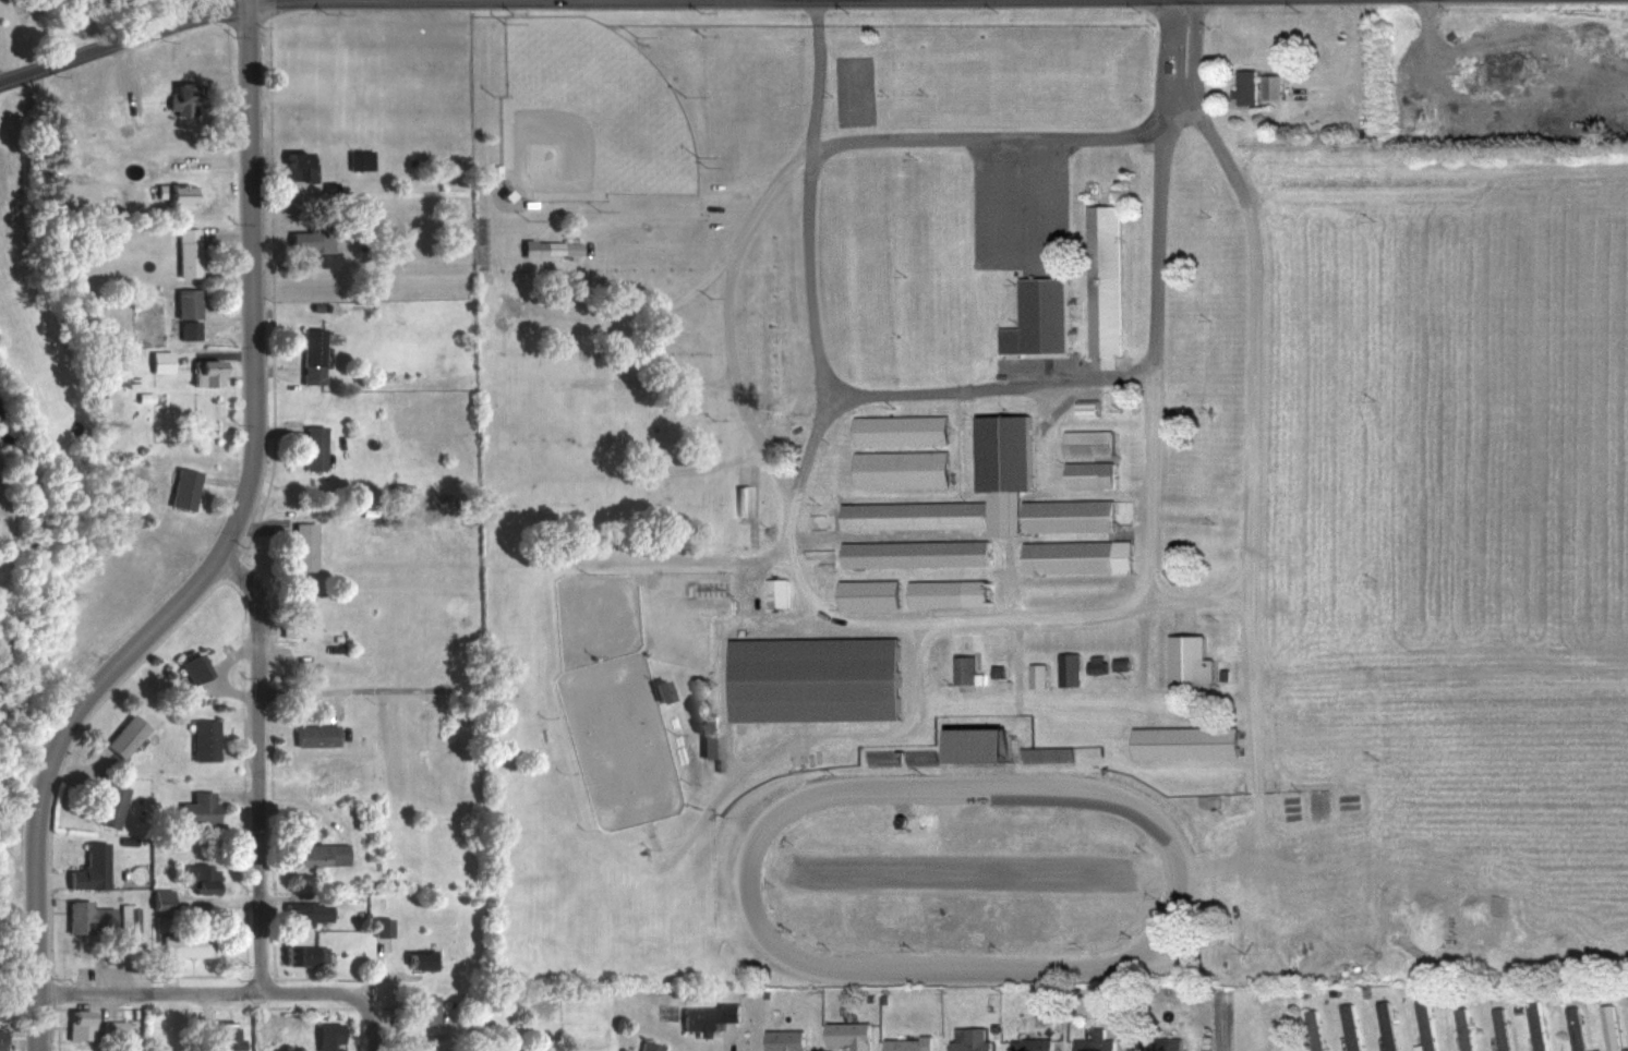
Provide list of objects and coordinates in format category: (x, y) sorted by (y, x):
road: (374, 0)
road: (248, 1)
road: (250, 1)
road: (123, 40)
landfill: (1509, 76)
building: (1257, 86)
building: (179, 98)
park: (591, 118)
road: (989, 138)
building: (361, 159)
building: (294, 166)
building: (167, 193)
building: (306, 242)
building: (550, 249)
building: (185, 253)
building: (1106, 286)
road: (273, 294)
building: (183, 304)
building: (1039, 317)
building: (185, 330)
road: (1156, 339)
building: (309, 355)
building: (157, 362)
road: (274, 370)
building: (204, 372)
building: (845, 376)
building: (792, 377)
road: (990, 387)
building: (900, 430)
building: (1088, 443)
building: (311, 447)
building: (1045, 449)
building: (1003, 452)
wastewater plant: (7, 456)
building: (900, 469)
building: (1089, 474)
building: (181, 490)
building: (913, 515)
building: (1068, 516)
building: (301, 547)
building: (915, 553)
building: (1076, 557)
road: (221, 558)
building: (868, 591)
building: (776, 592)
building: (948, 592)
road: (1032, 619)
building: (298, 621)
building: (1050, 632)
building: (503, 644)
building: (1196, 662)
building: (1098, 663)
building: (189, 668)
building: (1069, 668)
building: (963, 669)
building: (812, 679)
road: (334, 690)
building: (312, 736)
building: (121, 737)
building: (200, 741)
building: (1184, 742)
building: (707, 746)
building: (974, 746)
building: (1048, 754)
building: (882, 758)
road: (758, 761)
road: (255, 769)
building: (108, 806)
building: (195, 808)
building: (317, 854)
building: (86, 868)
building: (197, 879)
building: (157, 898)
building: (302, 913)
building: (76, 916)
building: (378, 926)
building: (183, 944)
building: (301, 954)
building: (417, 958)
road: (201, 992)
building: (1104, 1005)
building: (1517, 1006)
building: (418, 1007)
building: (704, 1015)
building: (77, 1024)
building: (1386, 1025)
building: (1534, 1025)
road: (372, 1026)
building: (1349, 1026)
building: (1608, 1027)
road: (1226, 1028)
building: (1424, 1028)
building: (1462, 1028)
building: (1499, 1028)
building: (1573, 1028)
building: (1313, 1029)
building: (848, 1034)
building: (325, 1036)
building: (222, 1038)
building: (0, 1039)
building: (783, 1039)
building: (968, 1039)
building: (1095, 1041)
building: (906, 1043)
building: (1030, 1043)
building: (1160, 1043)
building: (646, 1046)

